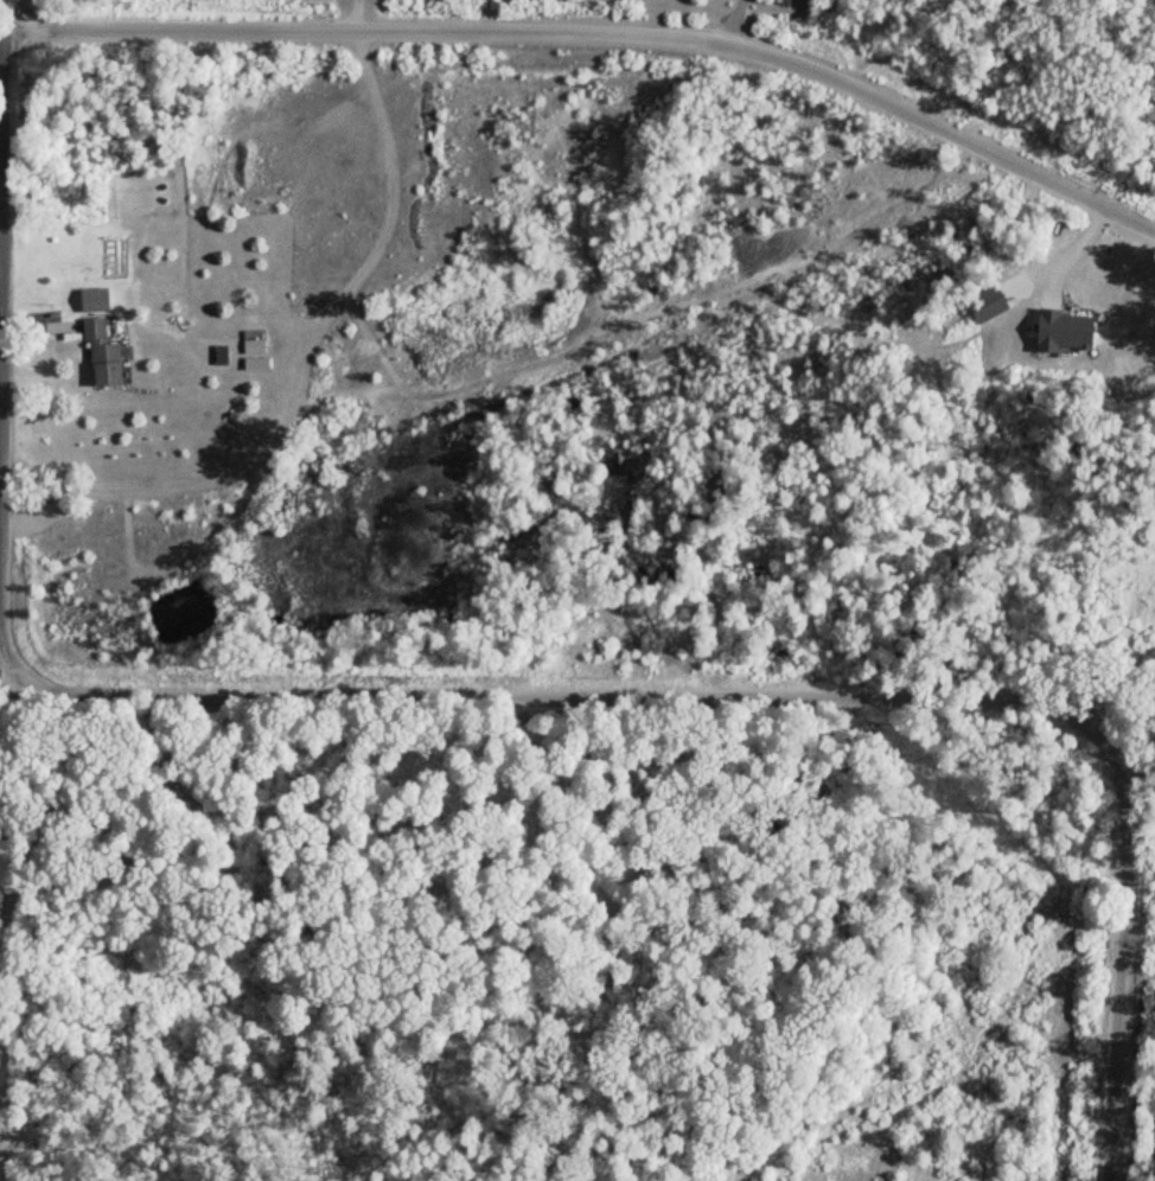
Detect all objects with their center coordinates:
road: (351, 15)
road: (730, 21)
road: (598, 33)
building: (254, 349)
building: (101, 358)
road: (300, 370)
road: (5, 655)
road: (8, 687)
road: (553, 698)
road: (5, 908)
road: (1121, 950)
road: (5, 1077)

